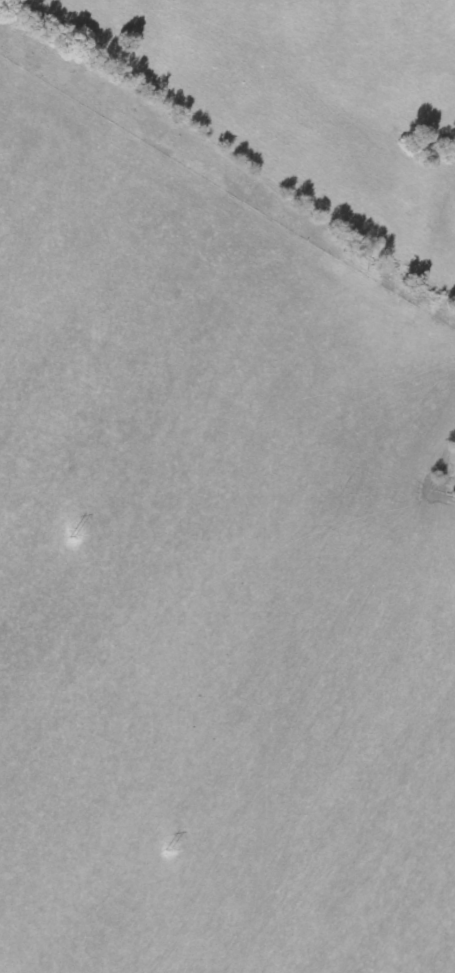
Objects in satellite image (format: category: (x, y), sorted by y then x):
power tower: (72, 536)
power tower: (168, 849)

